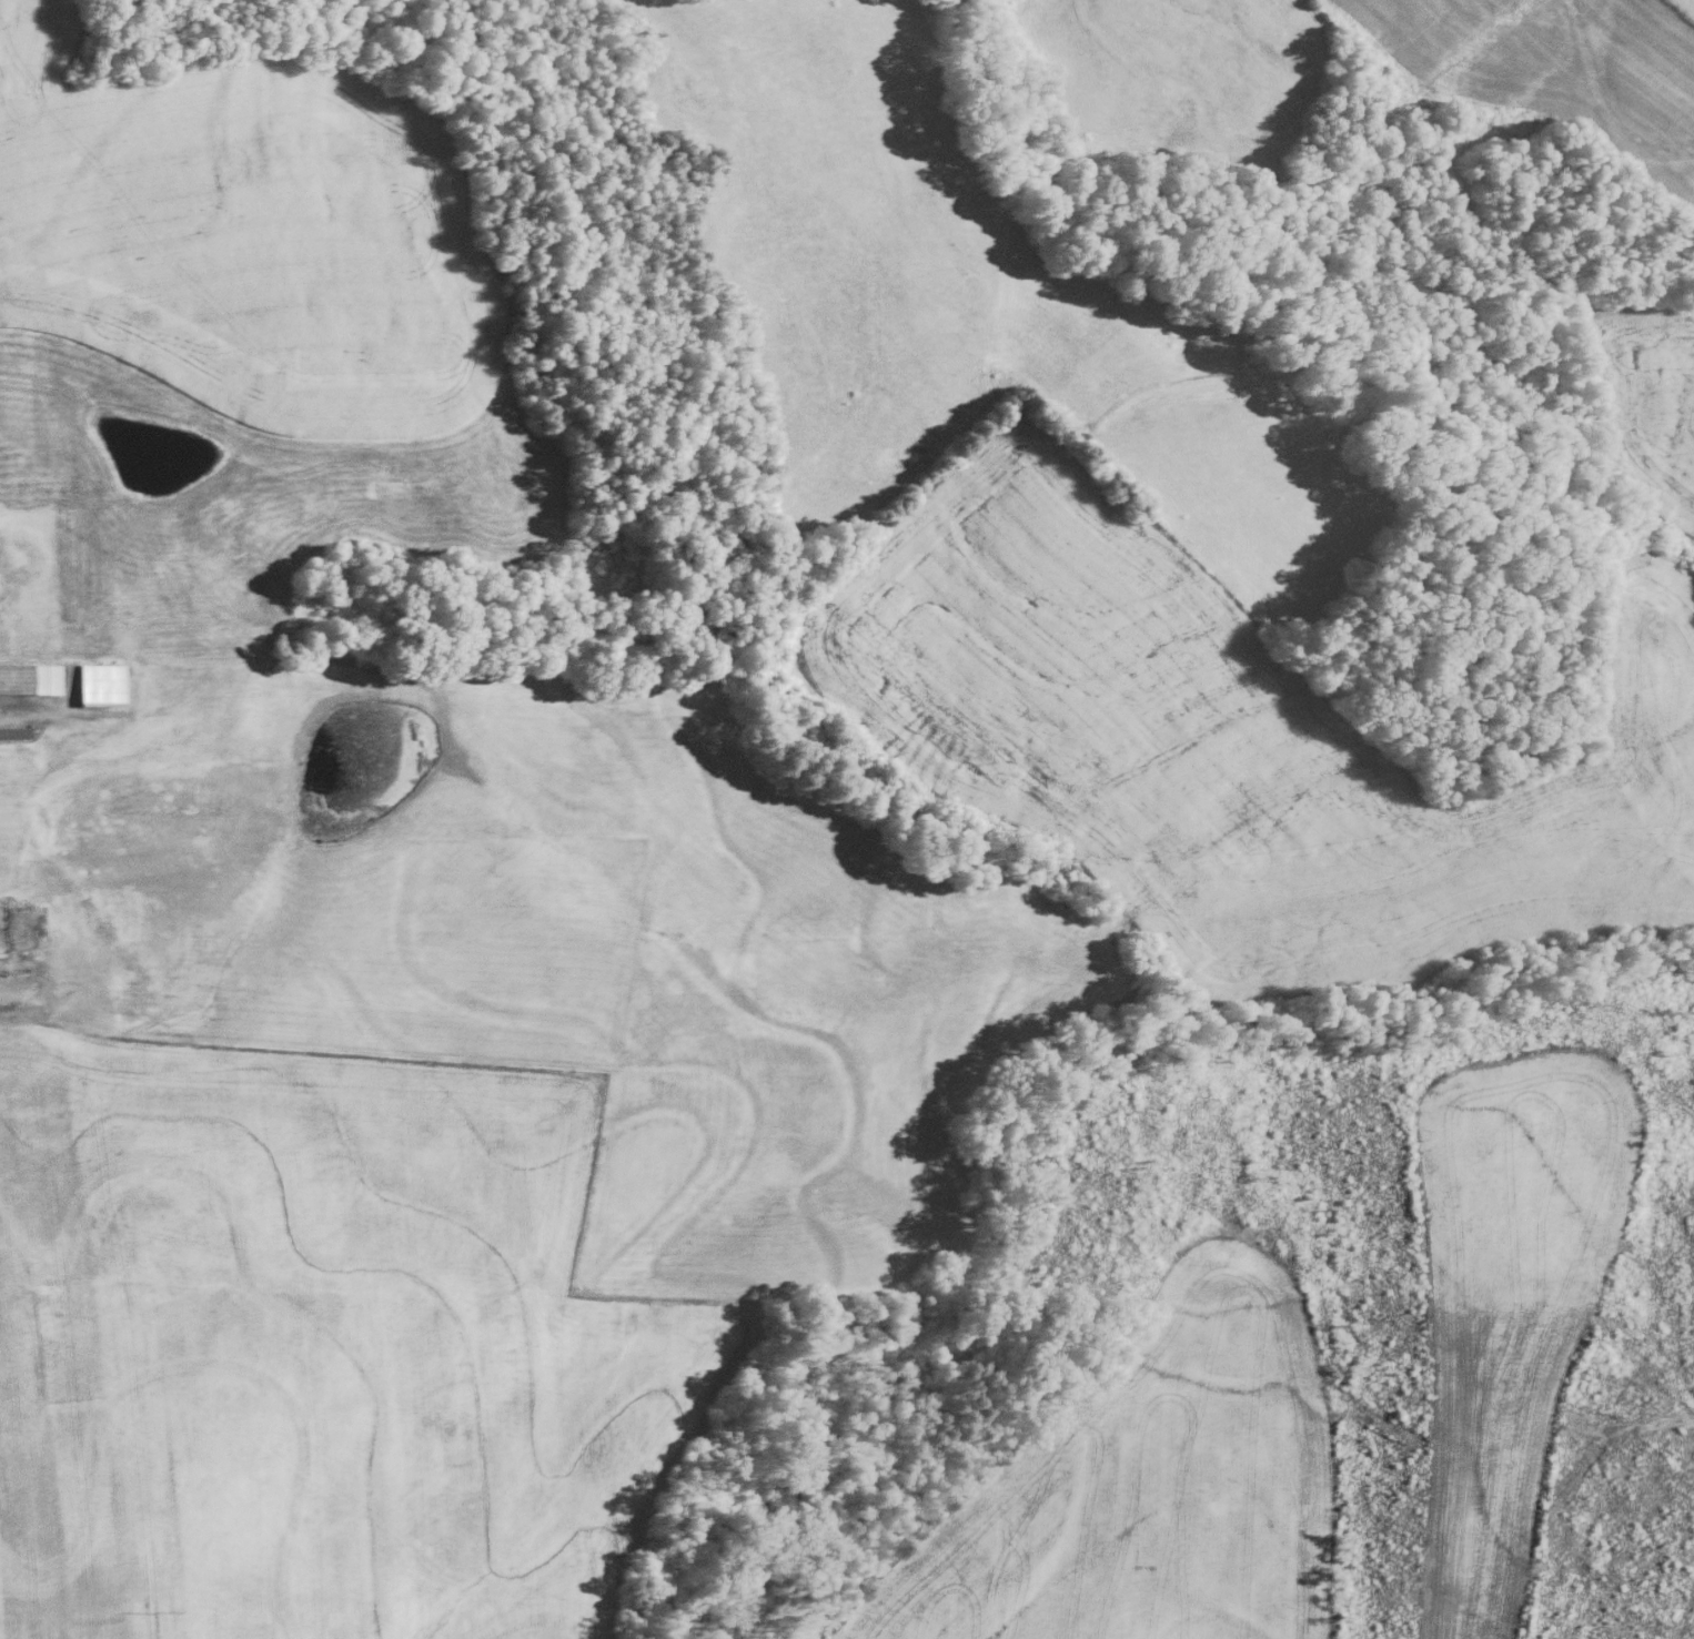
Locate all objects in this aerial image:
building: (27, 678)
building: (97, 684)
road: (52, 709)

